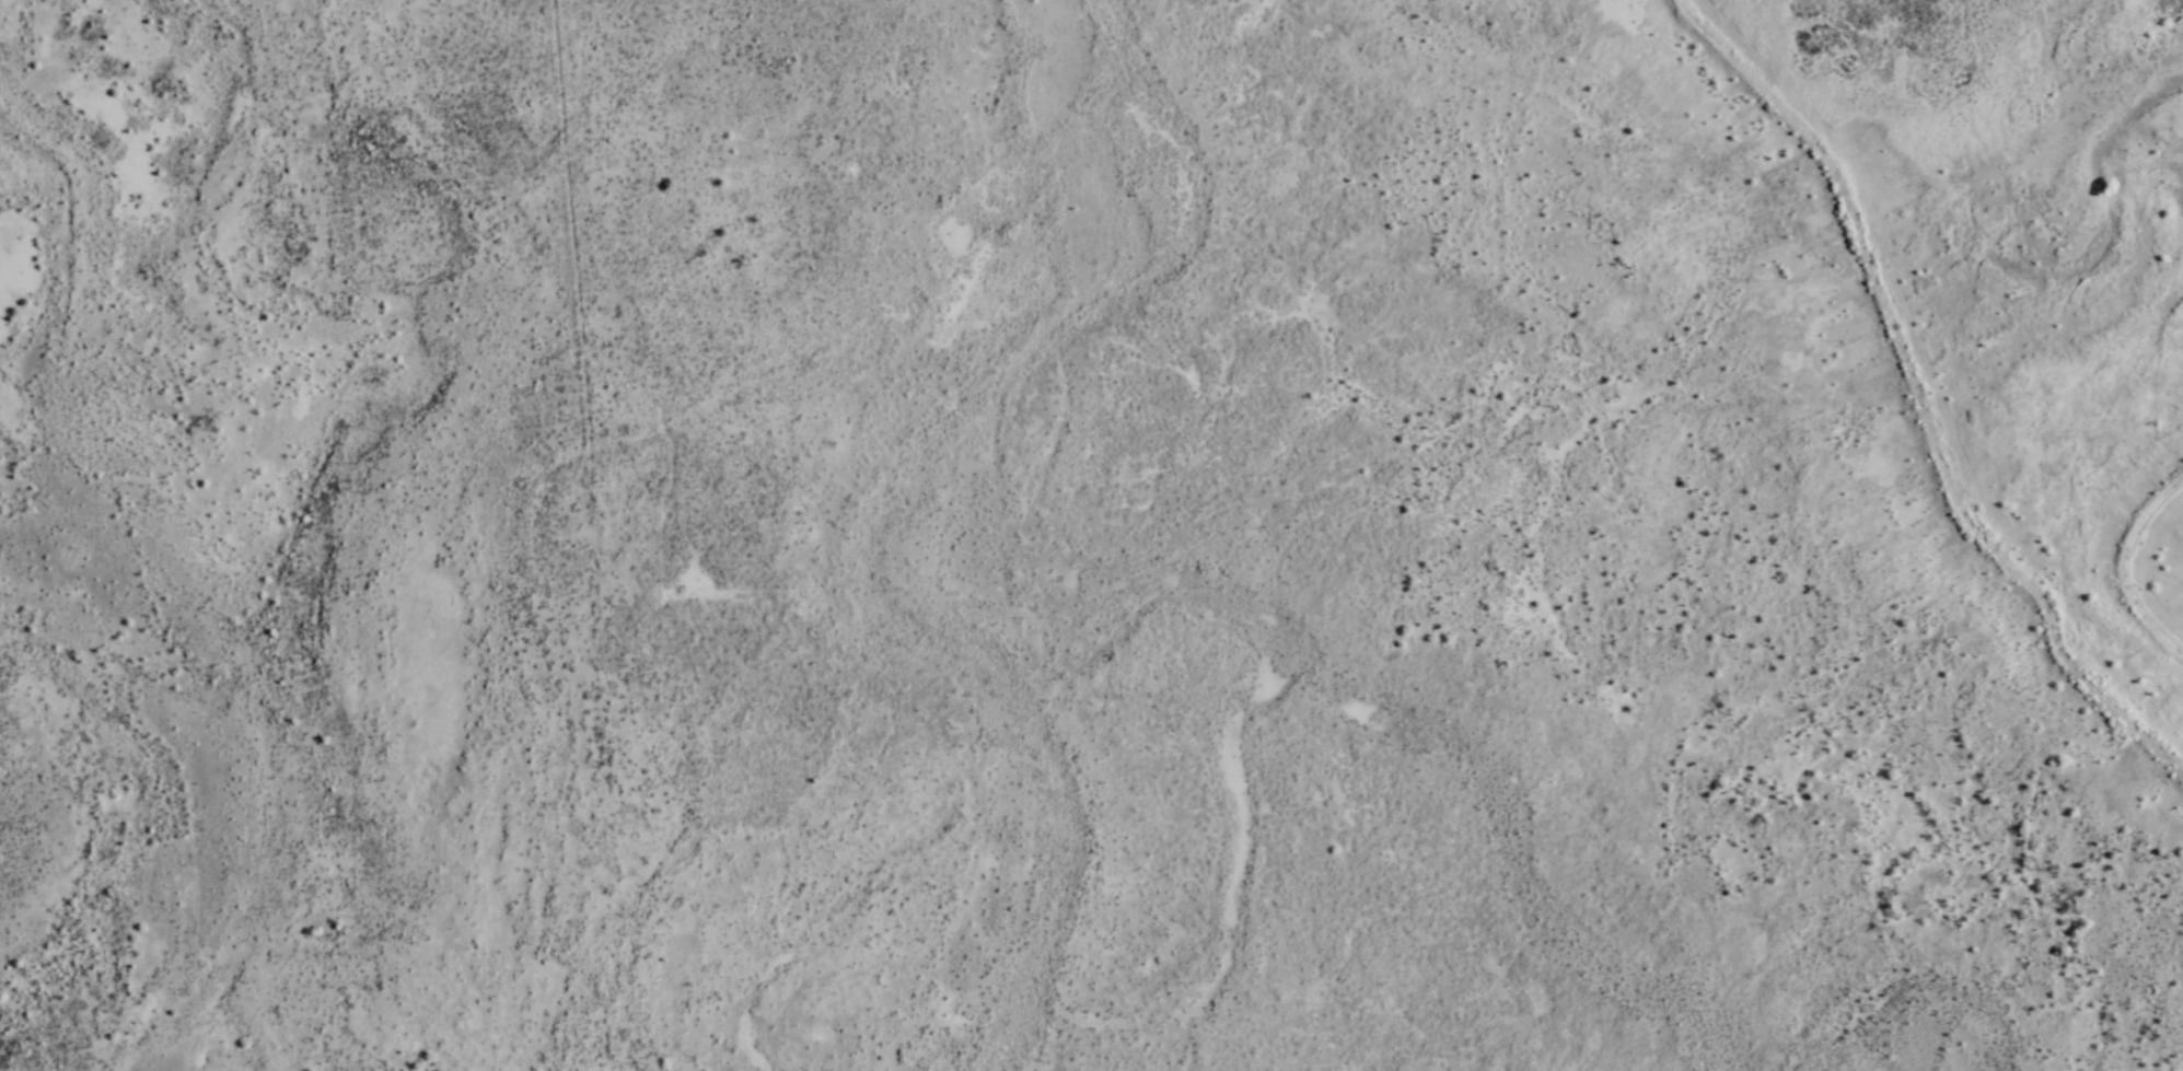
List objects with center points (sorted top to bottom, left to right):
road: (2111, 569)

